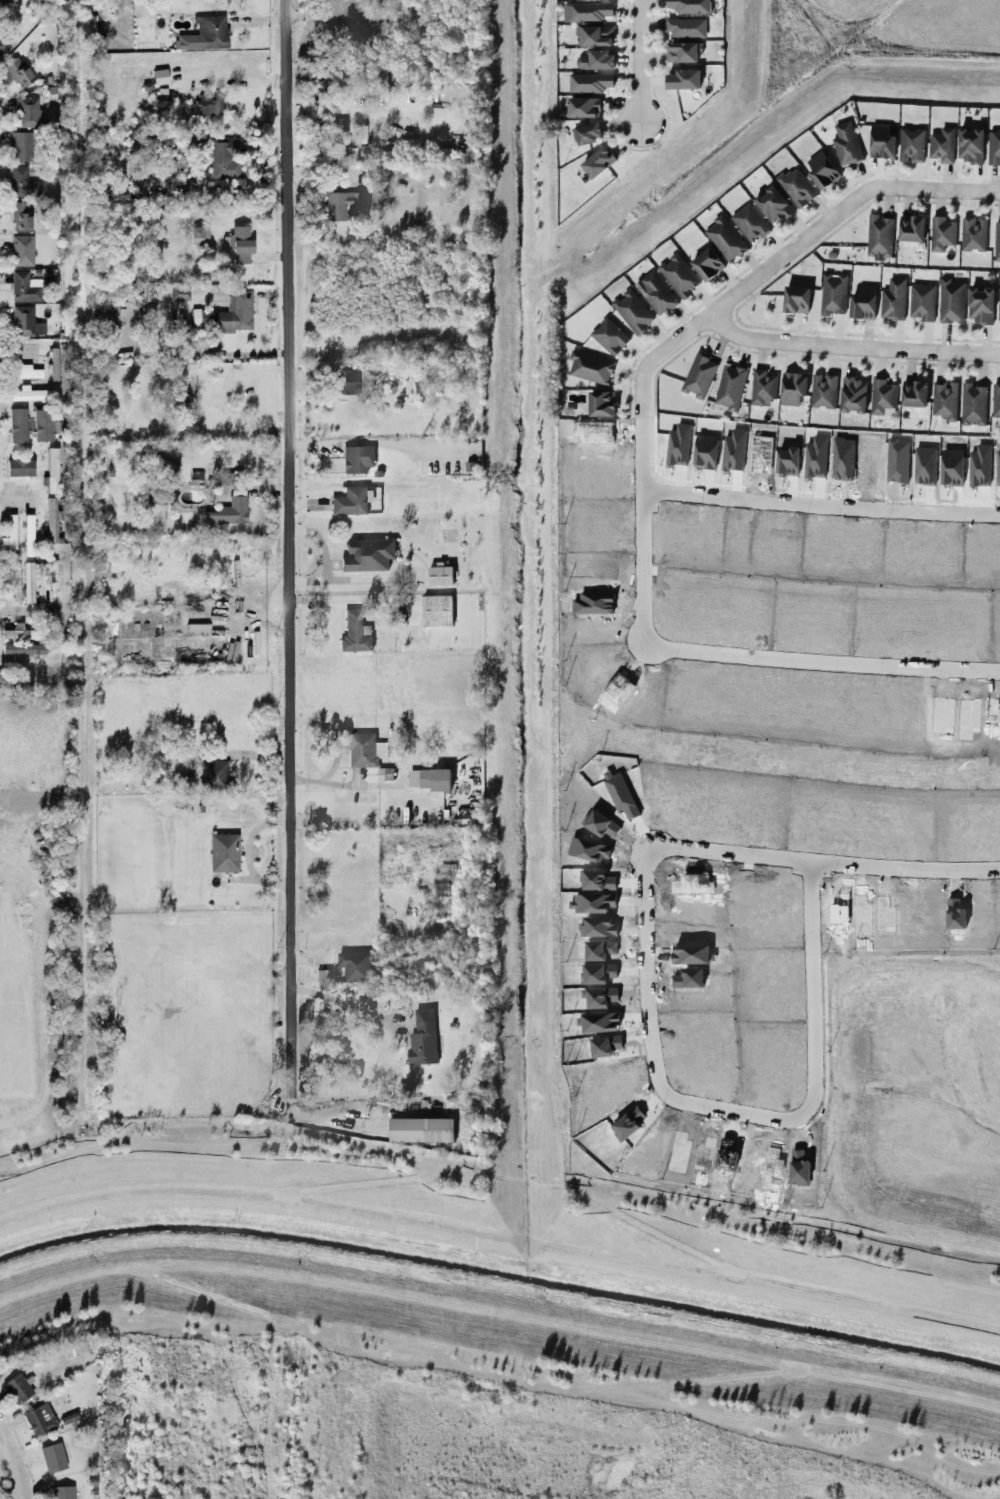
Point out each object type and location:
building: (689, 6)
building: (587, 11)
building: (685, 27)
building: (204, 34)
building: (594, 36)
building: (3, 45)
building: (681, 52)
road: (637, 59)
building: (597, 60)
building: (17, 72)
building: (159, 76)
building: (683, 80)
building: (590, 82)
building: (161, 97)
building: (207, 106)
building: (584, 107)
road: (340, 109)
building: (28, 112)
building: (339, 124)
building: (587, 133)
building: (881, 142)
building: (846, 144)
building: (911, 145)
building: (970, 145)
building: (21, 146)
building: (942, 146)
building: (994, 148)
building: (225, 159)
building: (598, 162)
building: (822, 170)
building: (22, 183)
building: (796, 186)
building: (343, 204)
building: (773, 205)
building: (20, 217)
building: (750, 222)
building: (911, 228)
building: (941, 234)
building: (973, 234)
building: (198, 236)
building: (879, 238)
building: (725, 239)
building: (997, 241)
building: (239, 246)
building: (21, 250)
road: (790, 252)
building: (708, 264)
building: (679, 276)
building: (24, 287)
building: (178, 293)
building: (656, 293)
building: (833, 294)
building: (796, 300)
building: (893, 300)
building: (951, 301)
building: (922, 302)
building: (863, 303)
building: (980, 305)
building: (999, 306)
building: (633, 312)
building: (234, 313)
building: (610, 336)
road: (852, 346)
building: (591, 368)
building: (26, 371)
building: (699, 376)
building: (346, 382)
building: (730, 387)
building: (763, 388)
building: (793, 388)
building: (425, 389)
building: (823, 391)
building: (914, 393)
building: (31, 394)
building: (853, 396)
building: (883, 398)
building: (945, 400)
building: (995, 400)
building: (601, 404)
building: (974, 405)
building: (17, 425)
building: (43, 425)
building: (357, 459)
building: (20, 468)
building: (52, 470)
building: (352, 501)
road: (822, 511)
building: (154, 518)
building: (52, 520)
building: (11, 532)
building: (28, 535)
road: (644, 540)
road: (287, 545)
road: (320, 545)
building: (367, 555)
building: (440, 575)
building: (30, 579)
road: (353, 582)
building: (13, 584)
building: (437, 610)
building: (355, 632)
building: (21, 649)
road: (832, 668)
building: (365, 750)
building: (214, 776)
building: (429, 779)
building: (223, 853)
road: (740, 853)
road: (906, 867)
building: (440, 884)
building: (356, 966)
road: (814, 986)
road: (343, 1003)
building: (423, 1038)
road: (652, 1041)
building: (421, 1130)
park: (34, 1145)
road: (243, 1145)
road: (524, 1184)
road: (688, 1211)
river: (500, 1278)
building: (16, 1389)
building: (39, 1420)
building: (50, 1456)
road: (12, 1469)
building: (62, 1492)

